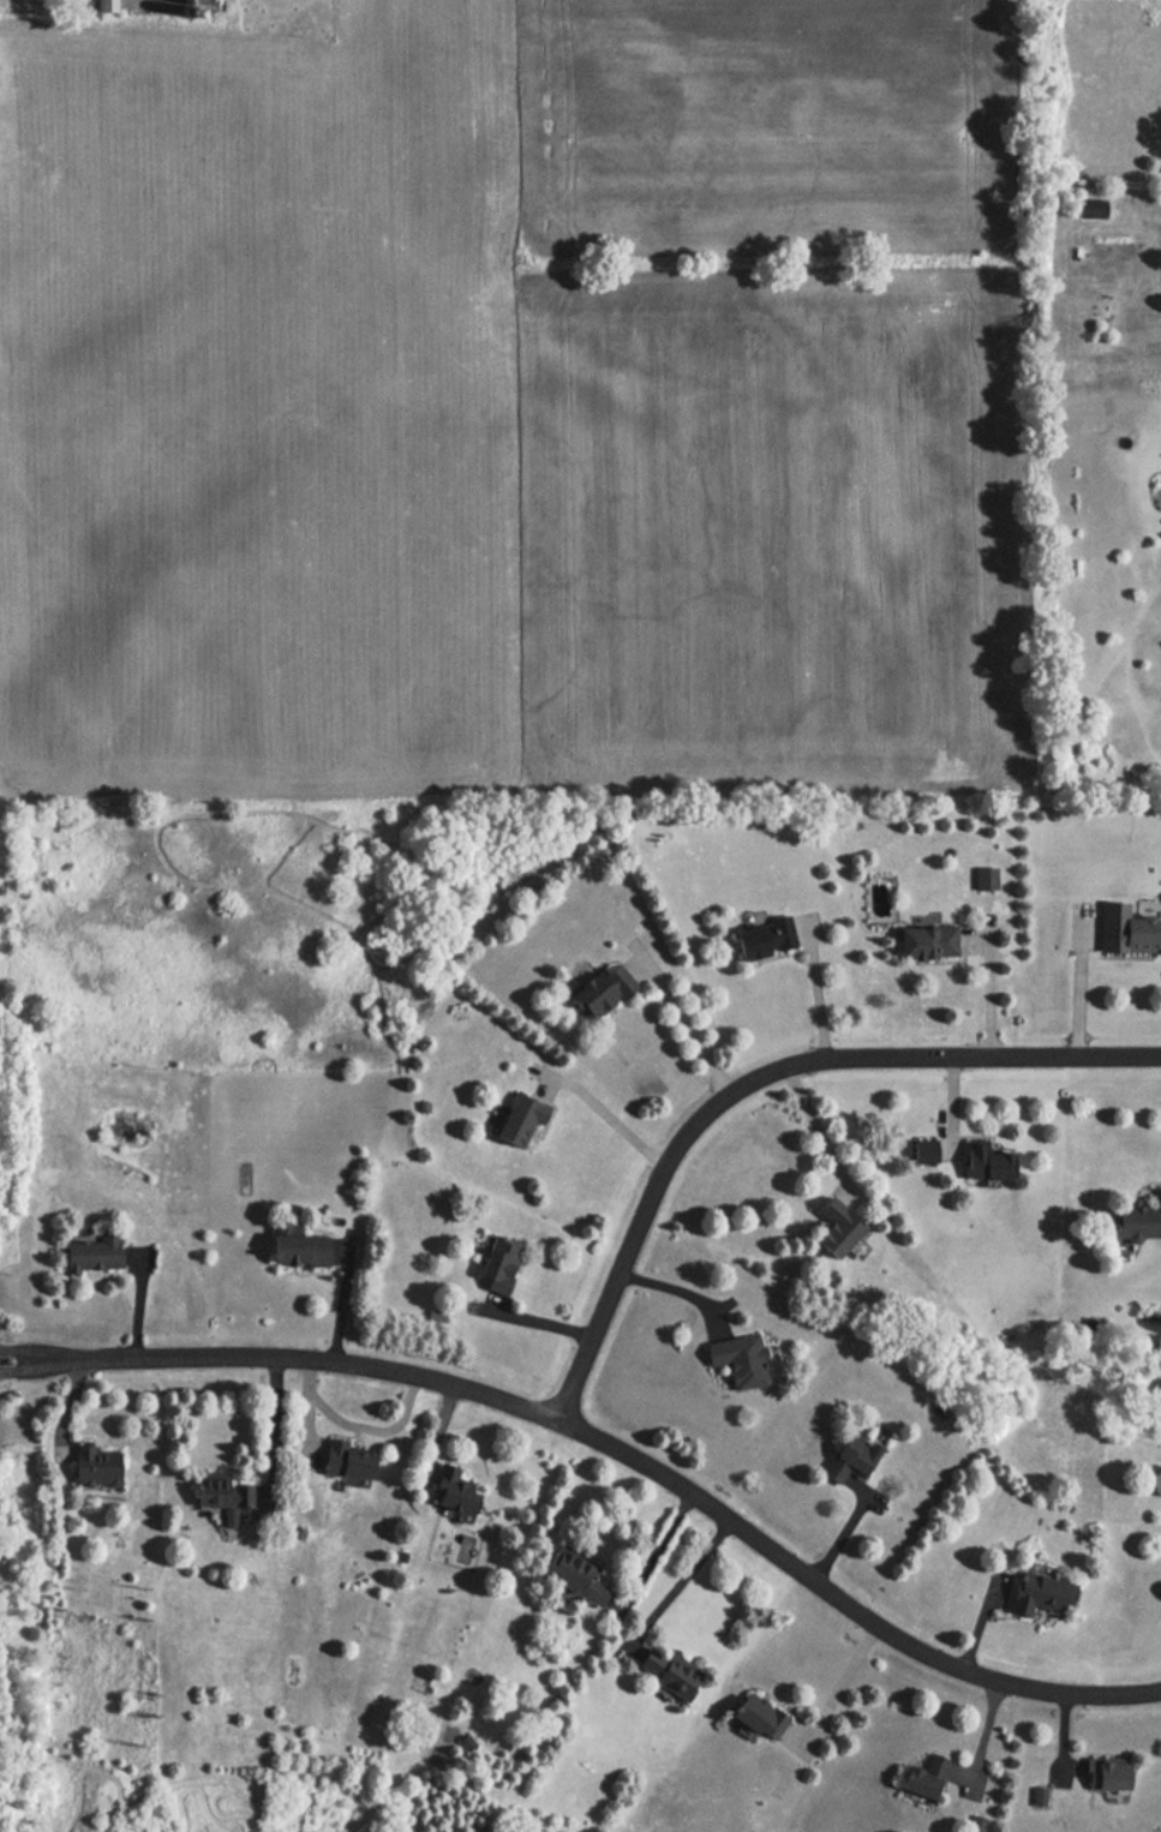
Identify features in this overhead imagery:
building: (976, 882)
building: (1126, 930)
building: (760, 938)
building: (923, 941)
road: (1078, 986)
road: (814, 989)
road: (987, 989)
building: (591, 996)
road: (681, 1022)
road: (760, 1077)
road: (948, 1102)
road: (603, 1114)
building: (515, 1121)
road: (816, 1131)
building: (962, 1155)
building: (1136, 1219)
building: (830, 1228)
building: (294, 1249)
building: (90, 1253)
building: (493, 1264)
road: (666, 1287)
road: (339, 1309)
road: (136, 1316)
road: (531, 1322)
road: (28, 1342)
road: (26, 1360)
building: (736, 1360)
road: (68, 1400)
road: (304, 1426)
road: (354, 1427)
road: (273, 1432)
road: (633, 1453)
building: (845, 1457)
building: (342, 1461)
building: (92, 1468)
building: (449, 1491)
building: (221, 1498)
road: (838, 1537)
building: (573, 1577)
road: (678, 1582)
building: (1033, 1594)
road: (976, 1623)
building: (665, 1674)
road: (836, 1688)
building: (755, 1718)
road: (1061, 1732)
road: (981, 1734)
building: (1101, 1776)
building: (918, 1779)

